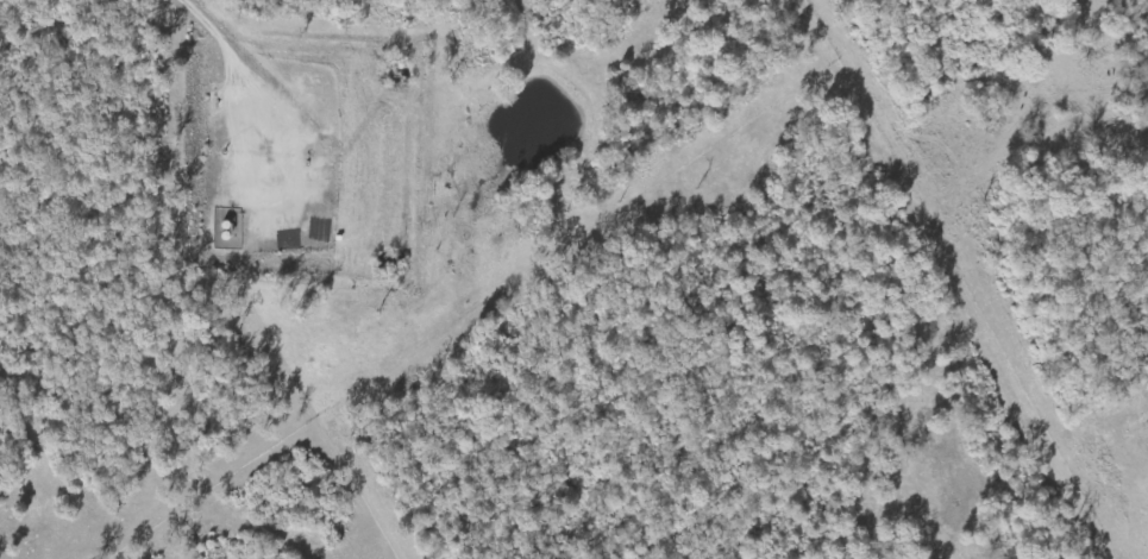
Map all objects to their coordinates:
road: (213, 34)
building: (321, 146)
silo: (321, 146)
chimney: (224, 151)
petroleum well: (307, 155)
road: (362, 197)
building: (224, 225)
silo: (224, 225)
building: (224, 235)
silo: (224, 235)

